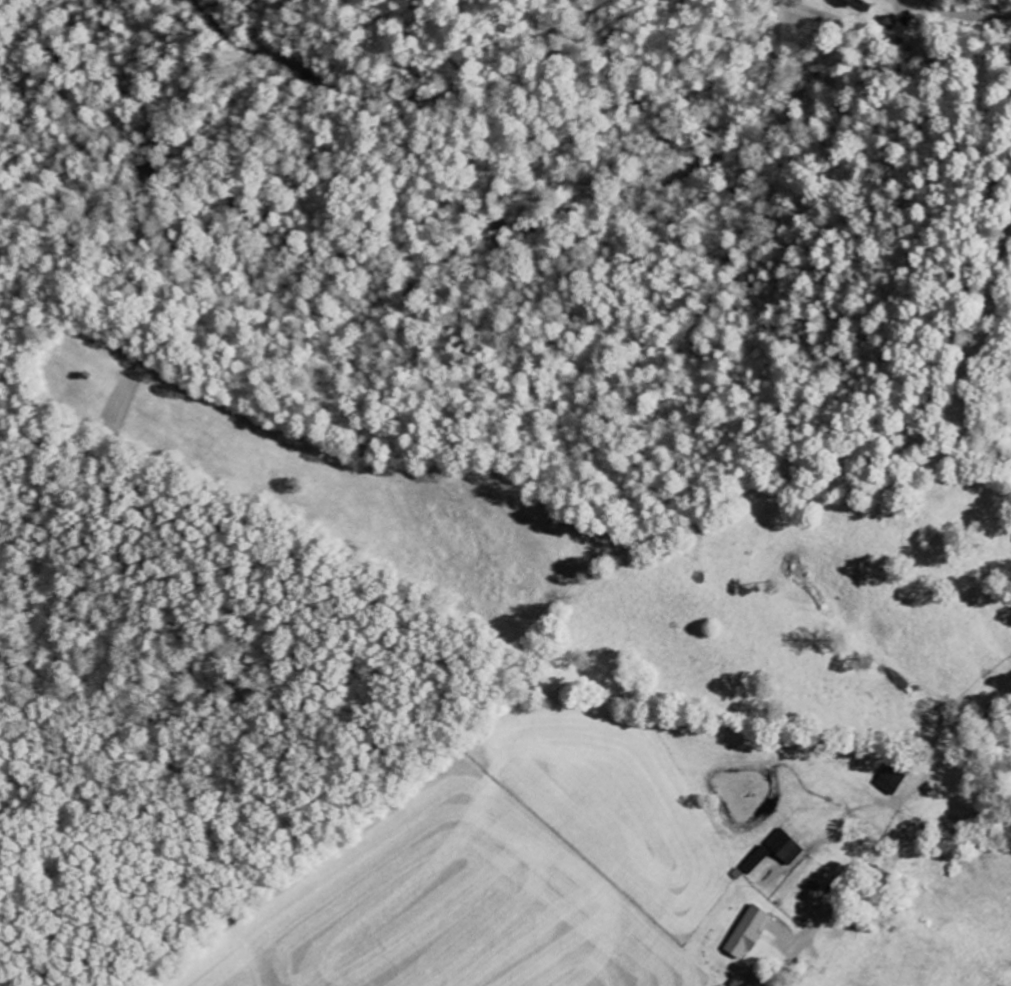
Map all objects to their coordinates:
building: (852, 2)
road: (961, 15)
building: (892, 780)
road: (894, 845)
building: (784, 848)
building: (747, 933)

